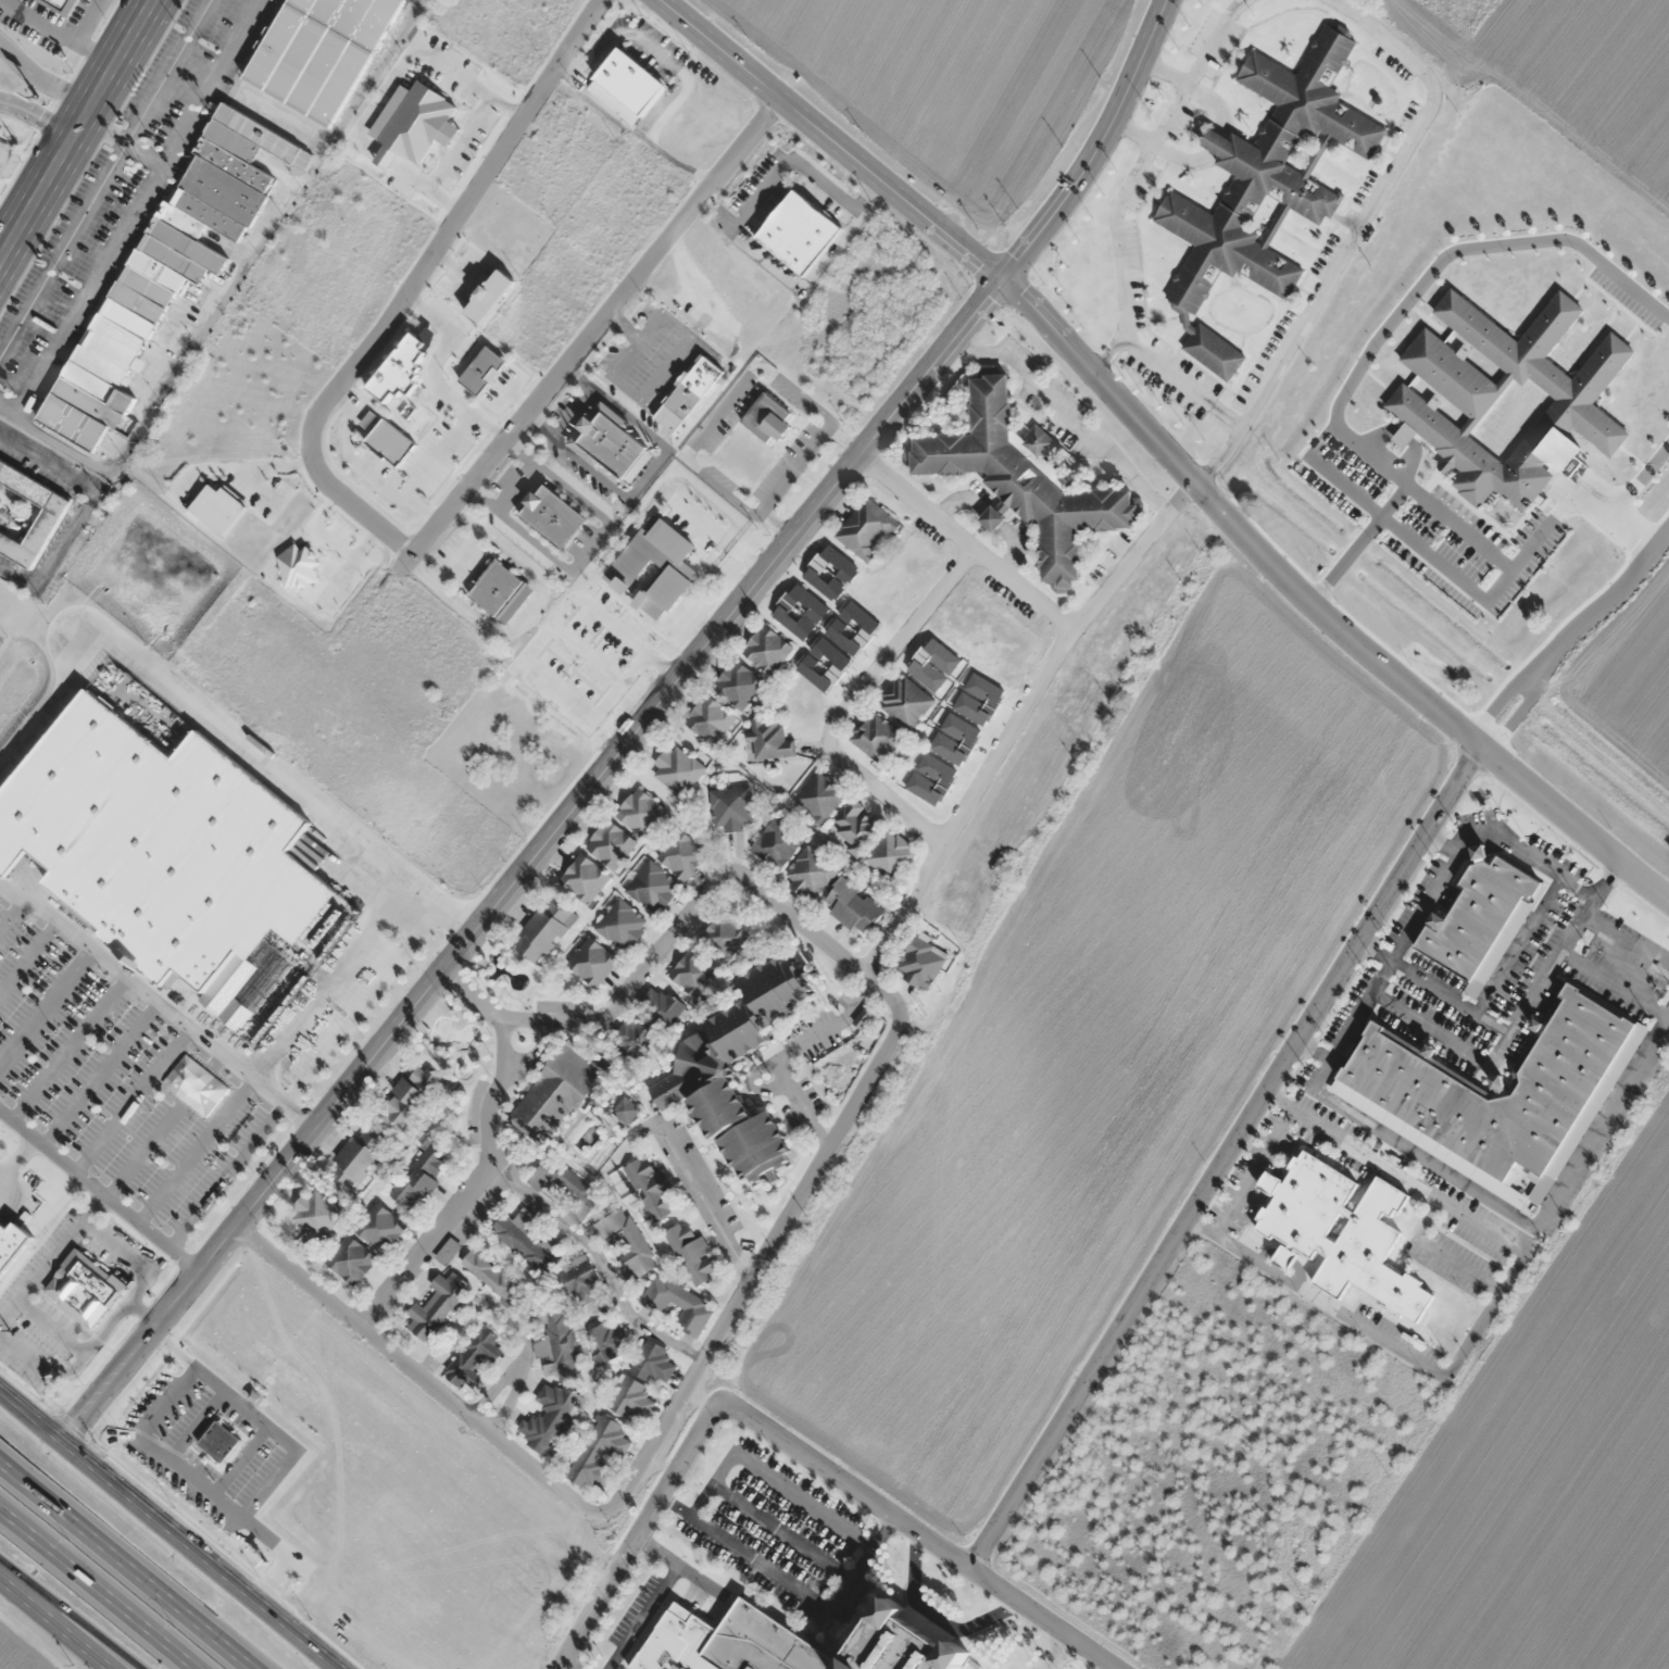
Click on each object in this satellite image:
building: (60, 5)
building: (319, 51)
road: (40, 77)
building: (626, 85)
road: (36, 116)
road: (75, 127)
building: (258, 131)
road: (827, 139)
road: (104, 177)
building: (1265, 187)
road: (135, 212)
road: (8, 225)
building: (798, 231)
building: (152, 285)
road: (412, 288)
road: (588, 334)
building: (689, 392)
road: (720, 409)
road: (573, 413)
building: (767, 417)
building: (607, 439)
road: (844, 440)
road: (795, 470)
road: (649, 474)
building: (1022, 478)
road: (83, 506)
building: (552, 515)
building: (49, 517)
road: (777, 525)
building: (866, 528)
road: (967, 540)
building: (495, 587)
road: (1318, 604)
building: (766, 650)
building: (738, 683)
road: (851, 701)
building: (905, 701)
road: (1017, 716)
building: (708, 719)
road: (632, 737)
building: (875, 737)
building: (770, 739)
building: (676, 769)
building: (818, 798)
building: (731, 807)
building: (640, 812)
building: (855, 827)
building: (776, 843)
building: (611, 844)
building: (682, 854)
building: (889, 856)
building: (173, 861)
building: (810, 873)
building: (583, 878)
building: (652, 888)
road: (1578, 890)
road: (1425, 905)
building: (852, 906)
road: (12, 913)
building: (1476, 916)
road: (800, 919)
building: (622, 925)
building: (543, 929)
road: (1524, 936)
building: (723, 937)
road: (1627, 948)
road: (1373, 950)
road: (29, 956)
building: (920, 961)
building: (592, 962)
building: (693, 971)
road: (631, 986)
road: (1616, 986)
road: (160, 1003)
road: (47, 1006)
road: (1495, 1024)
building: (635, 1038)
road: (70, 1047)
road: (1482, 1062)
building: (706, 1067)
road: (99, 1072)
building: (1497, 1088)
building: (410, 1093)
building: (556, 1093)
road: (133, 1100)
road: (163, 1125)
road: (1250, 1145)
road: (194, 1150)
road: (1222, 1154)
road: (16, 1157)
building: (356, 1158)
road: (489, 1158)
road: (1254, 1170)
road: (2, 1171)
road: (224, 1175)
building: (421, 1176)
building: (561, 1179)
road: (1223, 1187)
building: (651, 1189)
road: (100, 1191)
road: (704, 1199)
road: (91, 1208)
building: (315, 1213)
road: (1514, 1214)
building: (380, 1227)
building: (1342, 1232)
building: (525, 1241)
building: (12, 1242)
building: (627, 1243)
building: (691, 1252)
road: (1436, 1253)
building: (1285, 1257)
building: (351, 1259)
road: (599, 1259)
road: (39, 1270)
building: (490, 1276)
building: (579, 1279)
building: (86, 1289)
building: (678, 1304)
building: (437, 1305)
road: (145, 1312)
road: (1485, 1316)
road: (111, 1325)
road: (52, 1326)
building: (608, 1342)
building: (561, 1343)
building: (474, 1357)
building: (654, 1363)
road: (516, 1381)
building: (630, 1400)
building: (548, 1417)
road: (653, 1441)
road: (786, 1442)
building: (601, 1452)
road: (163, 1536)
road: (131, 1560)
road: (96, 1592)
road: (59, 1626)
road: (51, 1628)
building: (762, 1632)

